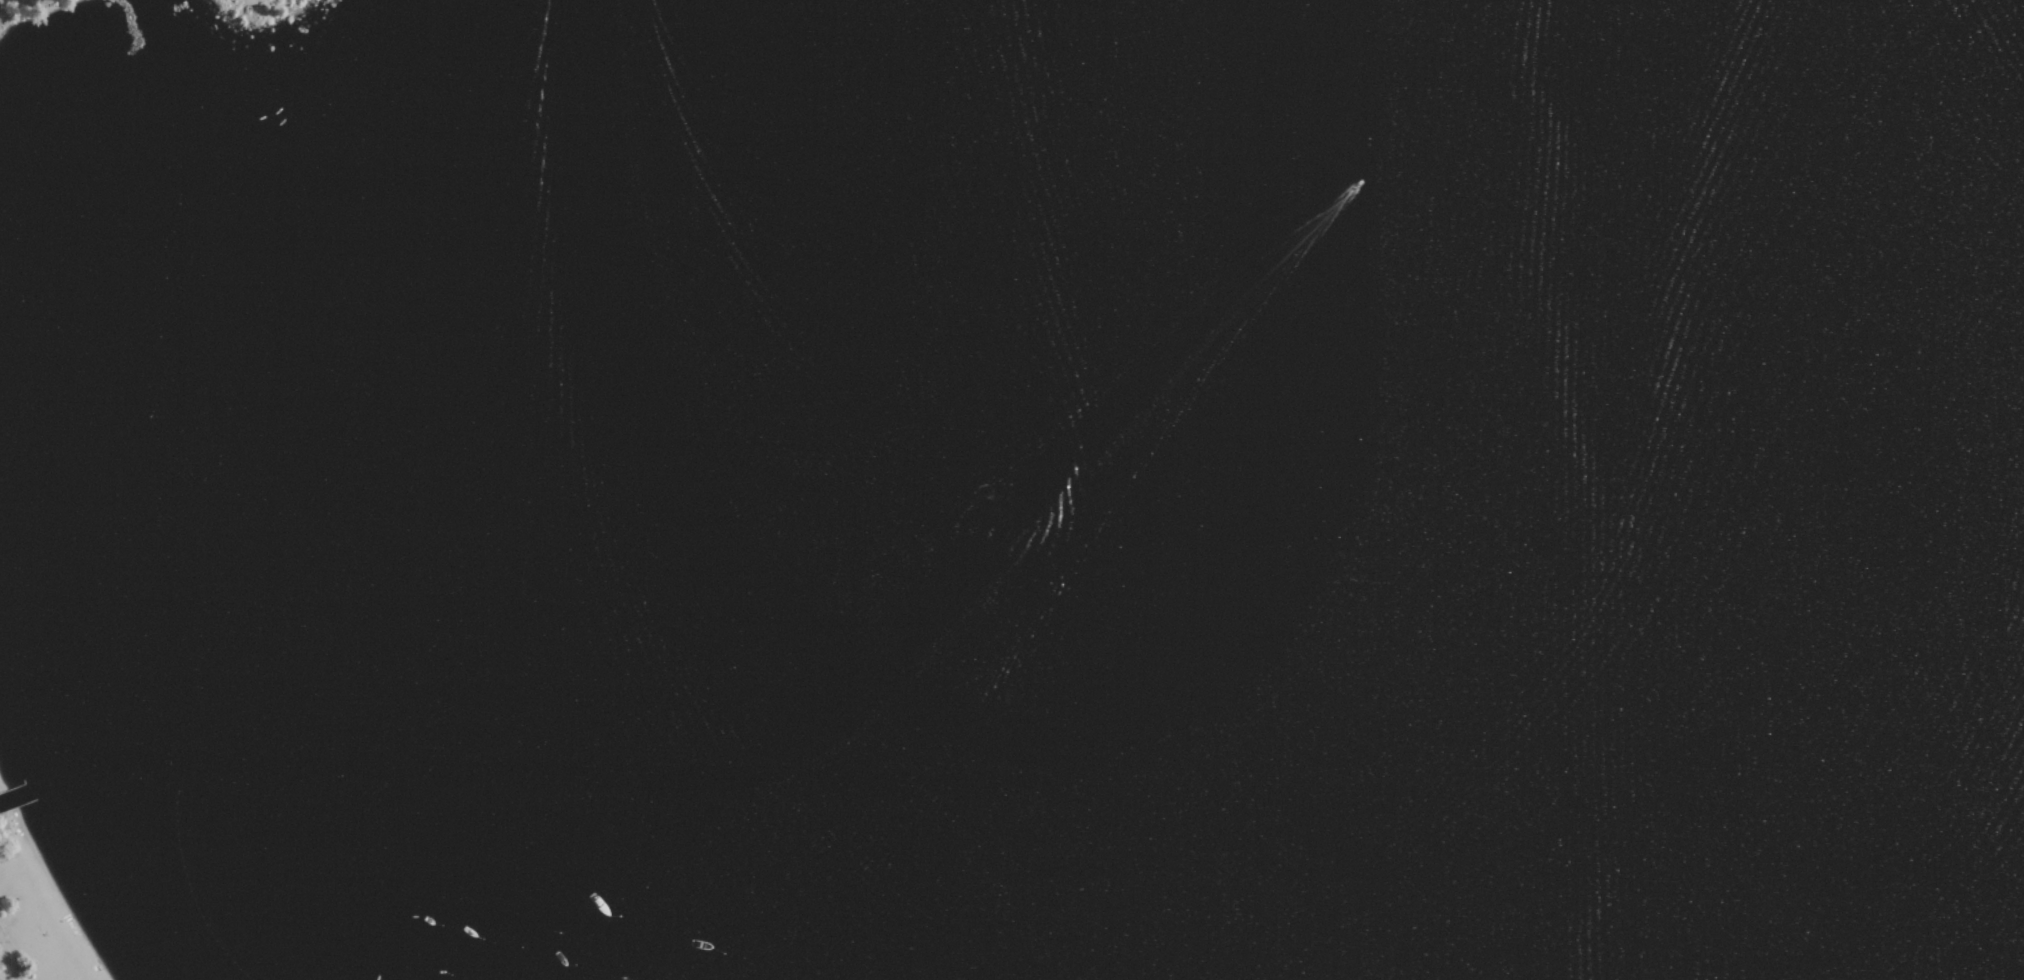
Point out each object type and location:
road: (8, 5)

